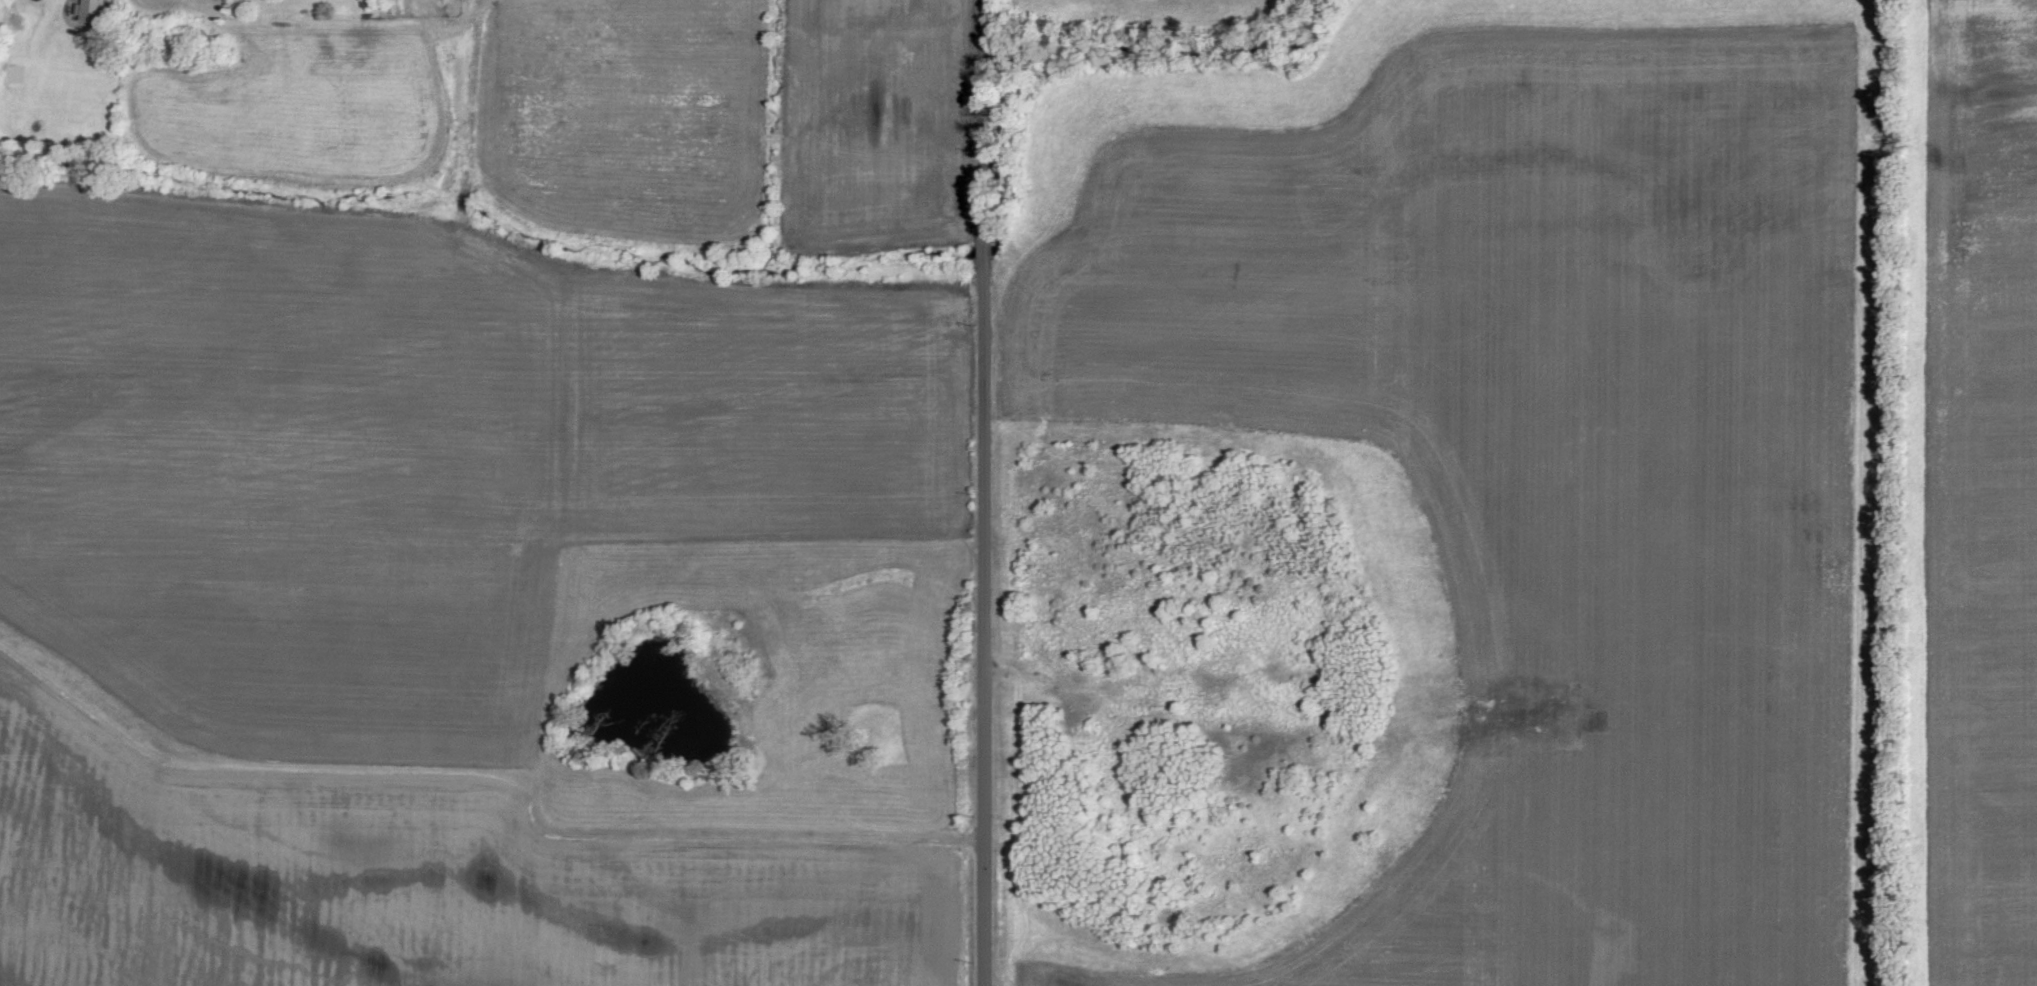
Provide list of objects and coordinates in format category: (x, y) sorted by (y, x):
building: (369, 0)
building: (93, 10)
road: (980, 492)

